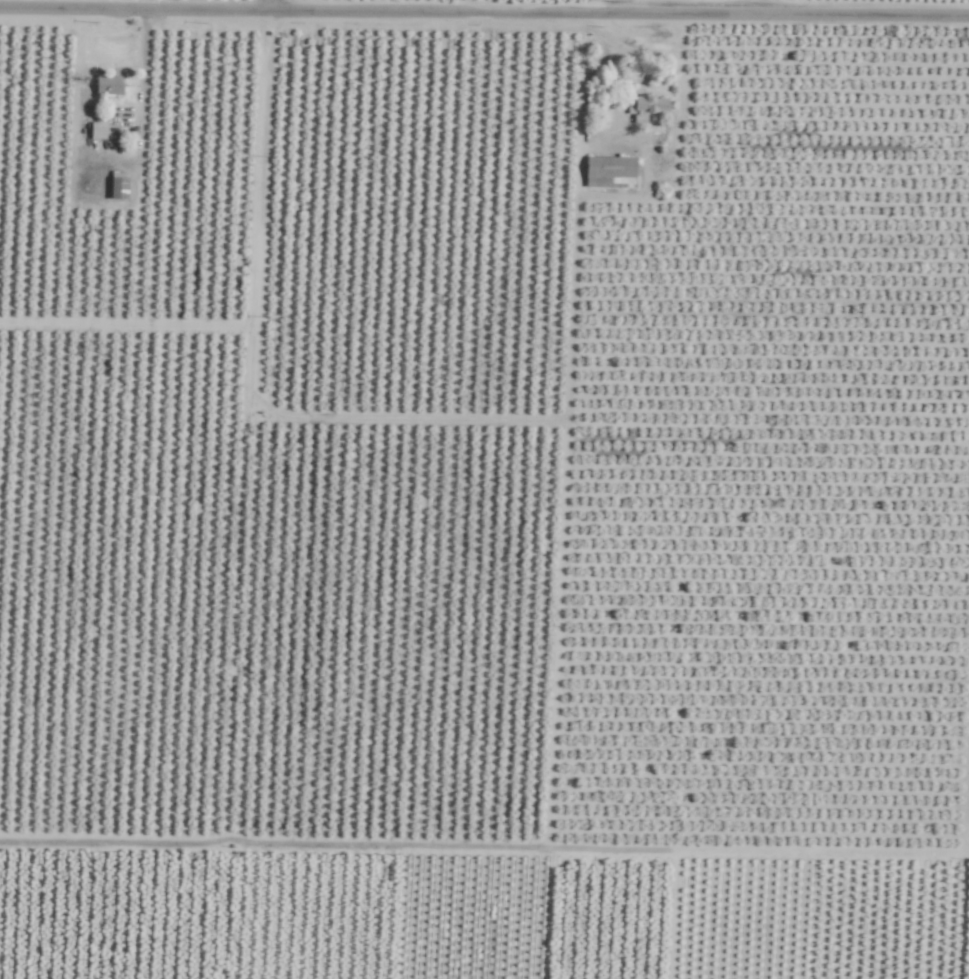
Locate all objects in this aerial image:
road: (274, 9)
road: (580, 12)
road: (484, 22)
building: (107, 85)
road: (140, 106)
building: (645, 107)
building: (609, 171)

